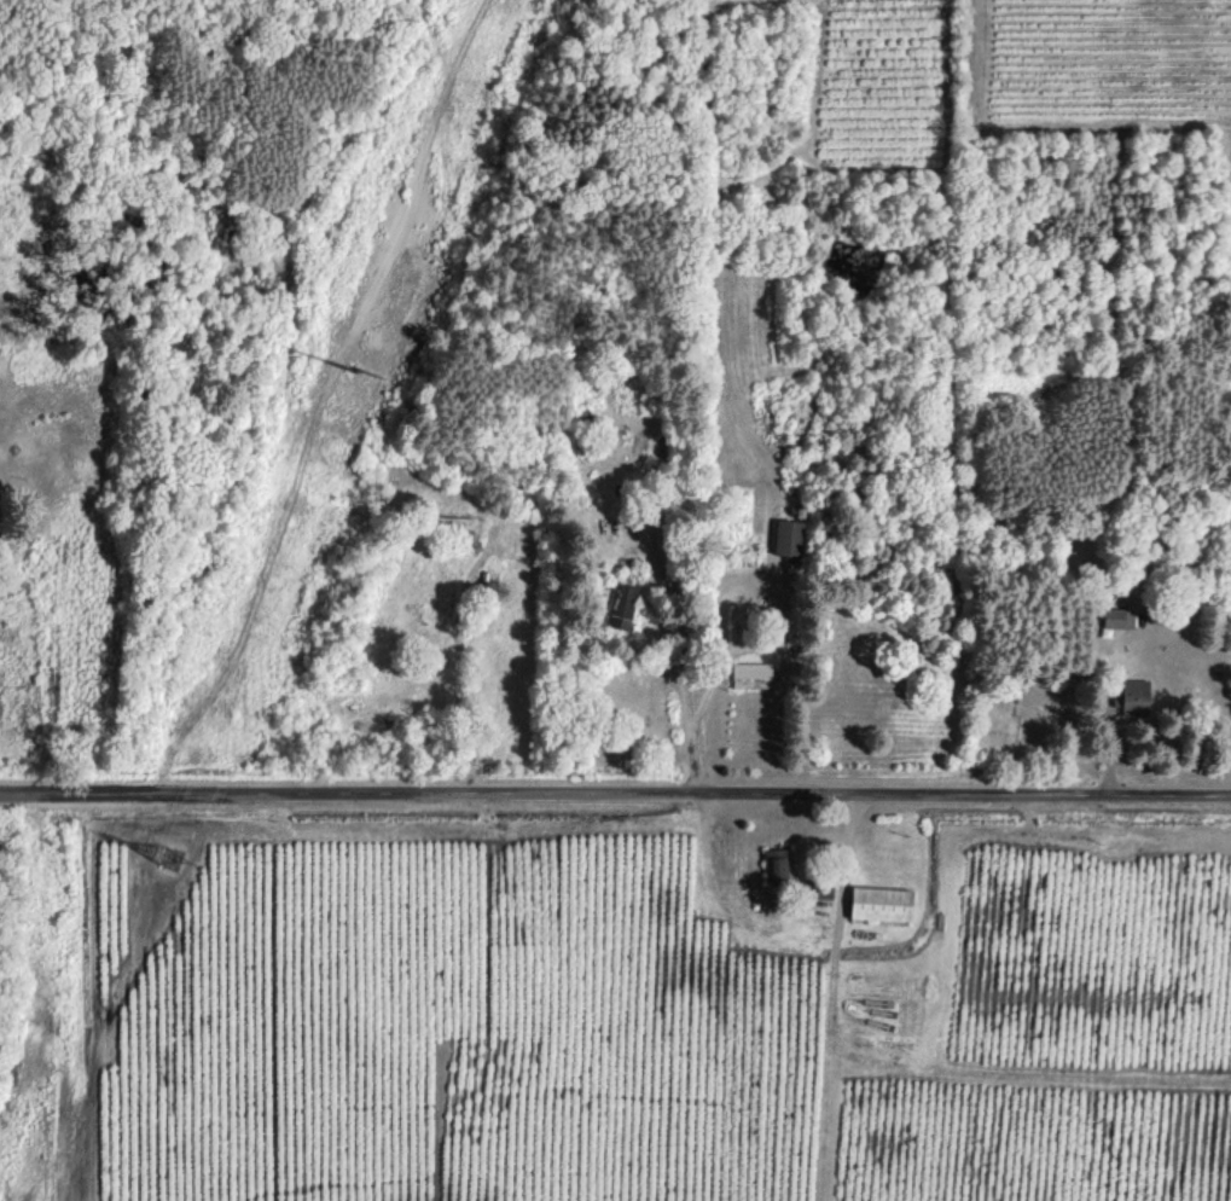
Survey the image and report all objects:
power tower: (352, 384)
building: (788, 538)
building: (622, 604)
building: (1117, 616)
road: (460, 657)
road: (718, 669)
building: (755, 674)
road: (681, 681)
building: (1134, 695)
road: (615, 793)
power tower: (173, 854)
building: (776, 864)
building: (881, 903)

